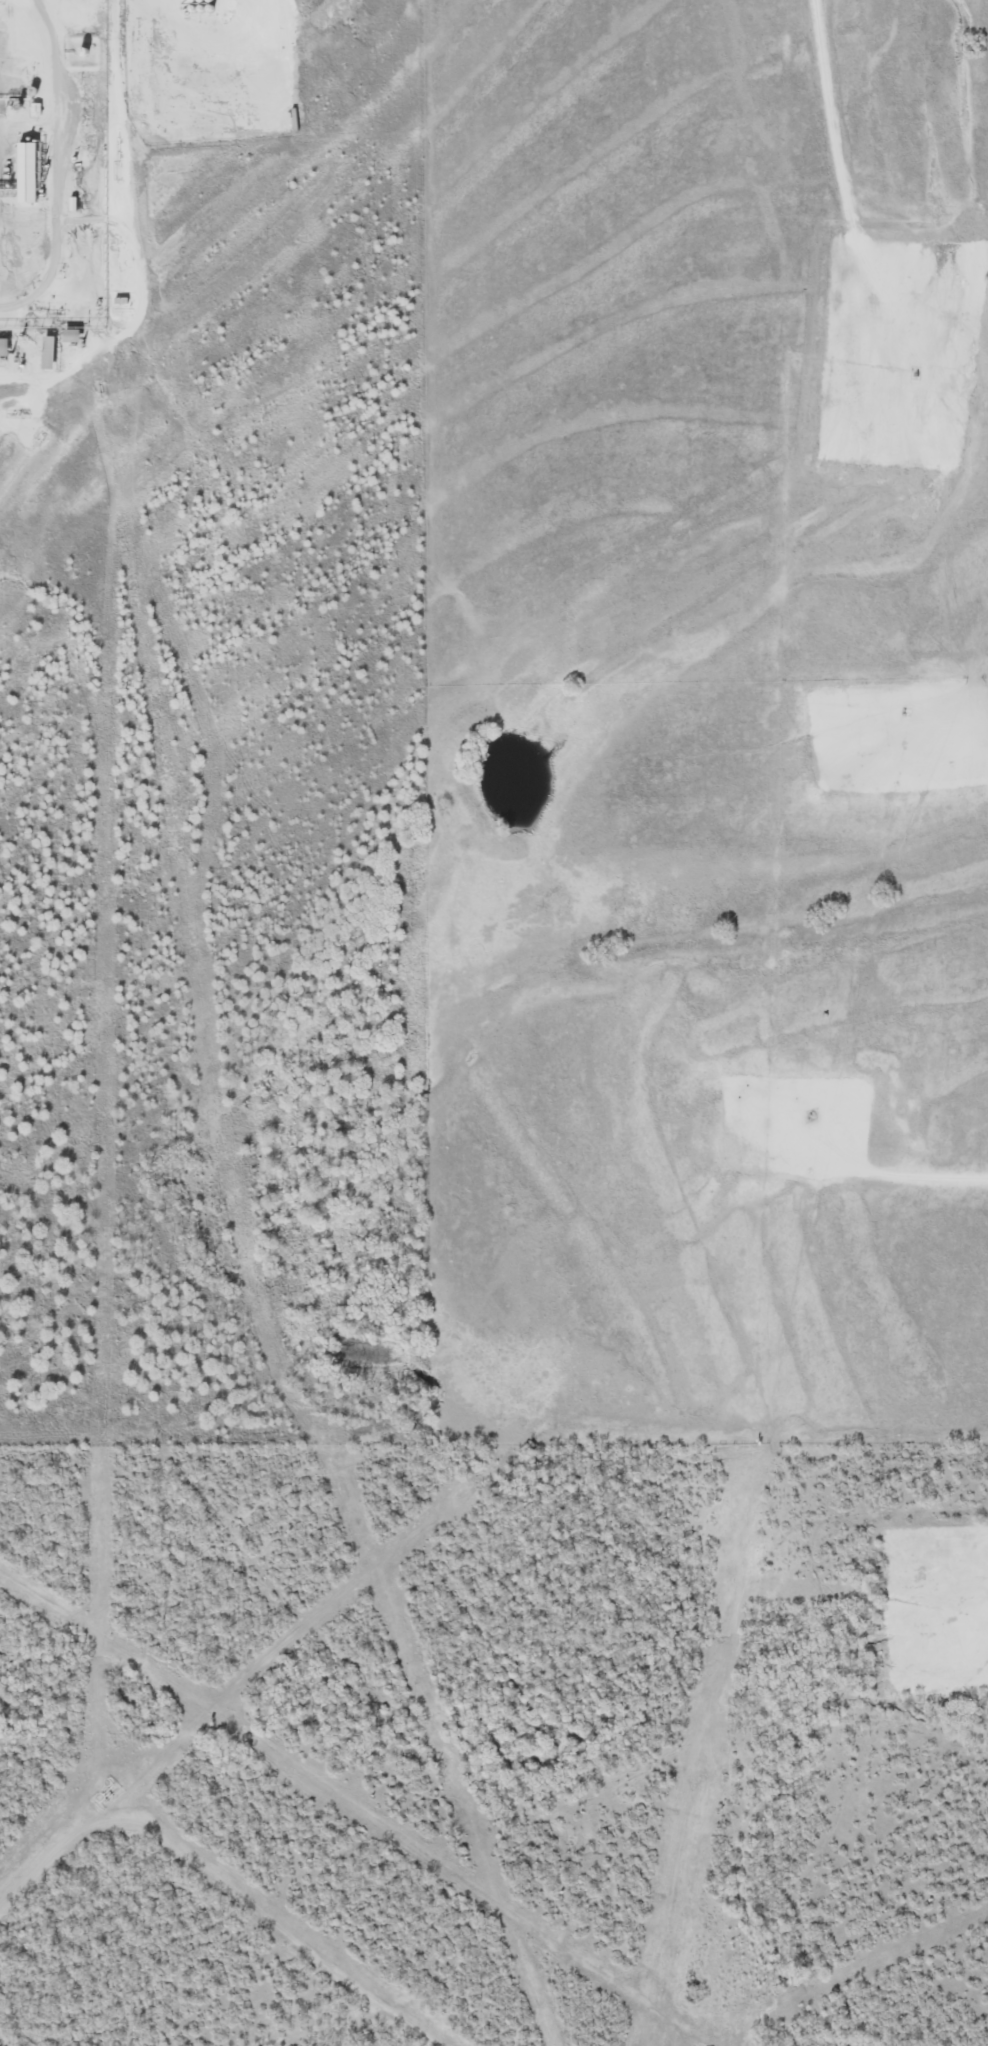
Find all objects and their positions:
building: (77, 11)
building: (161, 77)
building: (182, 77)
building: (203, 77)
building: (223, 77)
building: (26, 172)
building: (71, 335)
building: (4, 347)
building: (48, 352)

